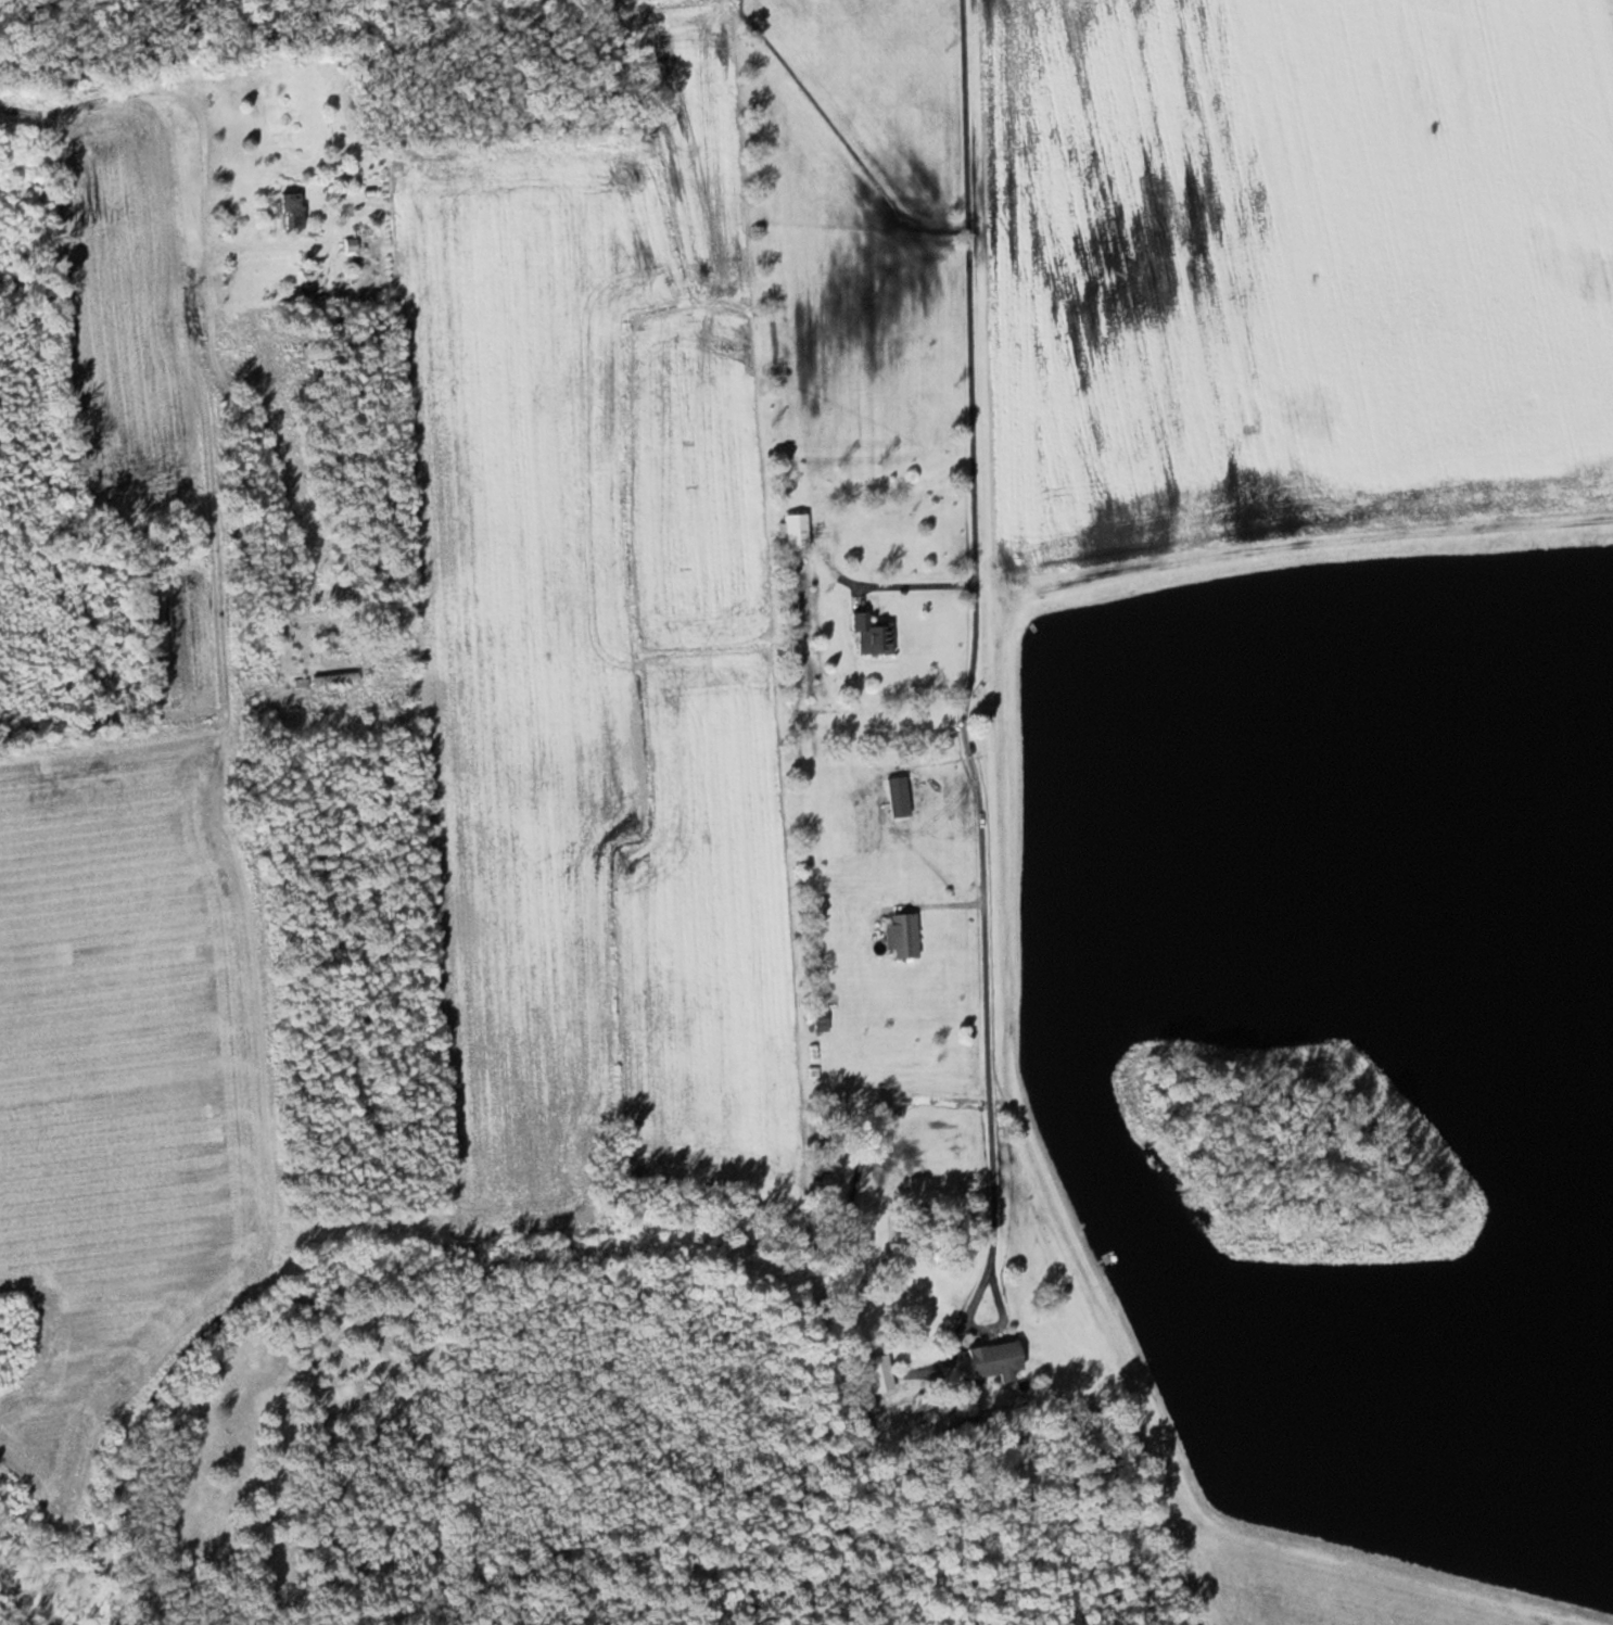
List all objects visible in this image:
building: (288, 203)
building: (793, 533)
road: (914, 582)
road: (978, 635)
building: (872, 637)
building: (325, 680)
building: (246, 695)
road: (985, 1328)
building: (991, 1358)
building: (873, 1374)

